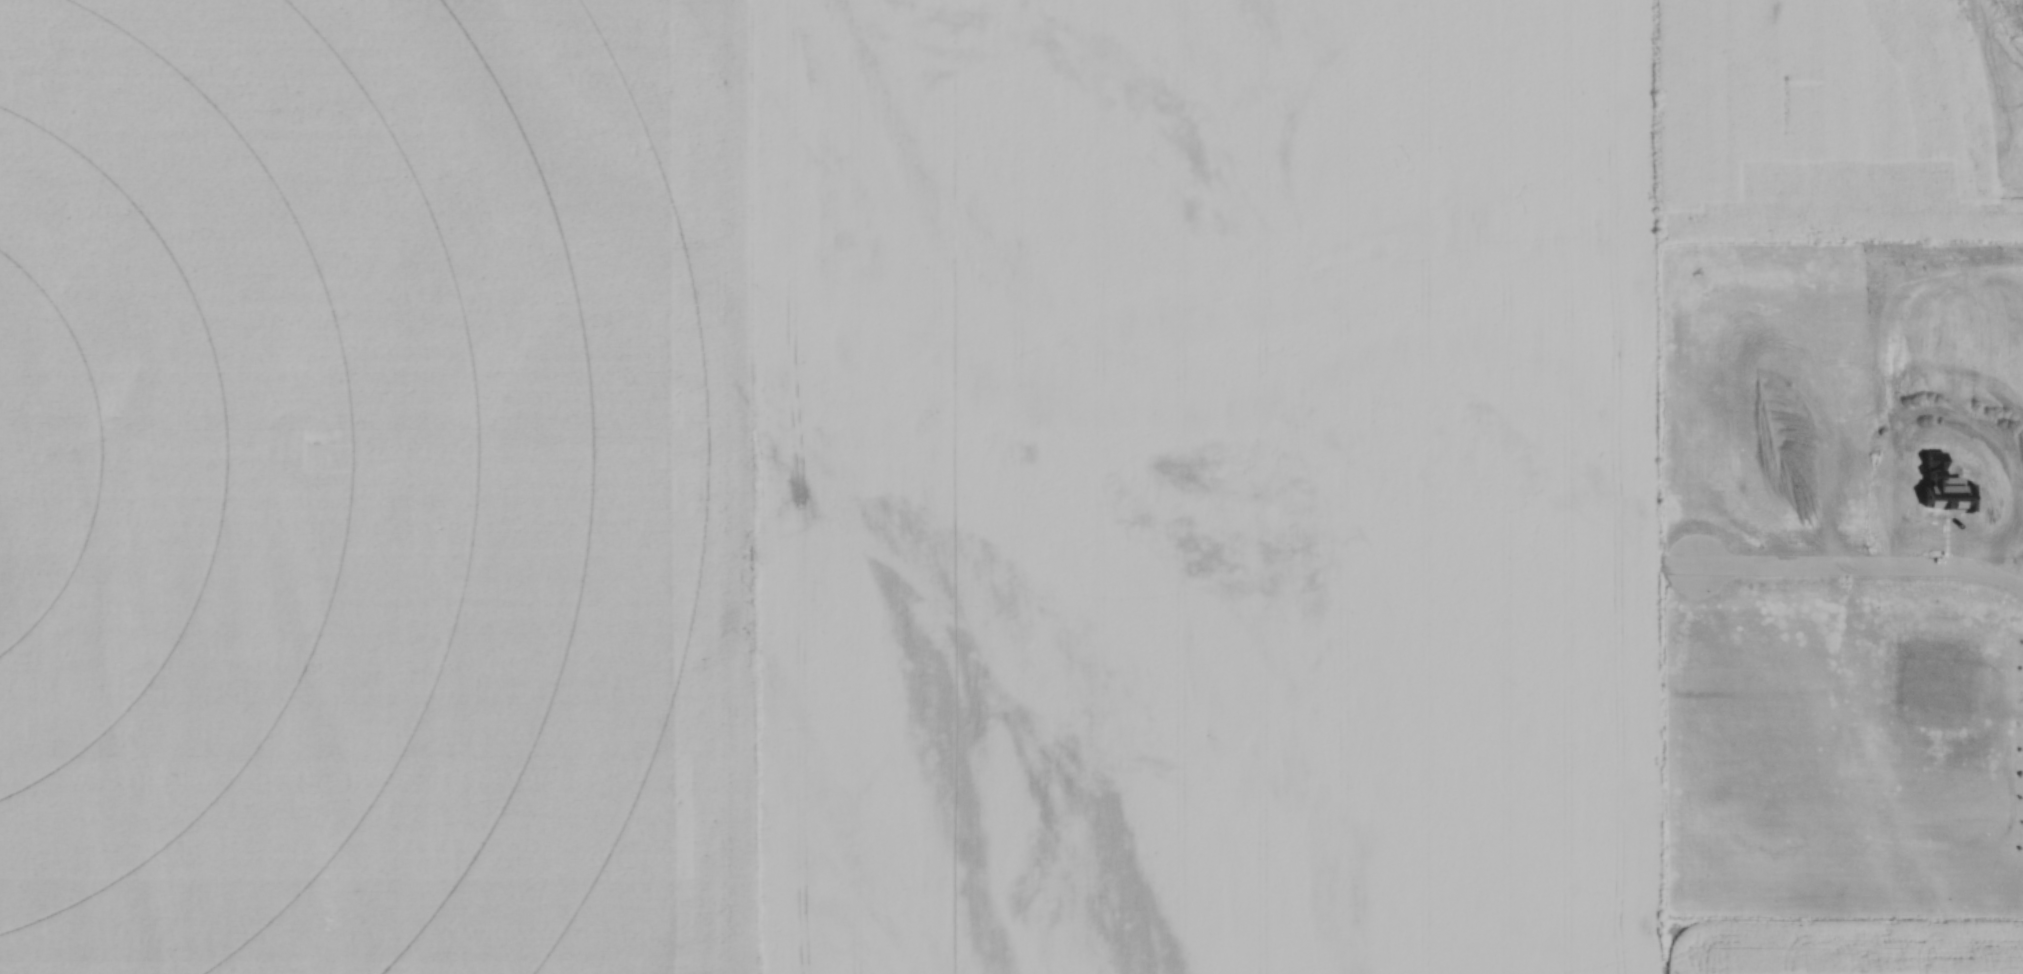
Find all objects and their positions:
road: (1908, 504)
road: (1860, 565)
crop: (1842, 944)

